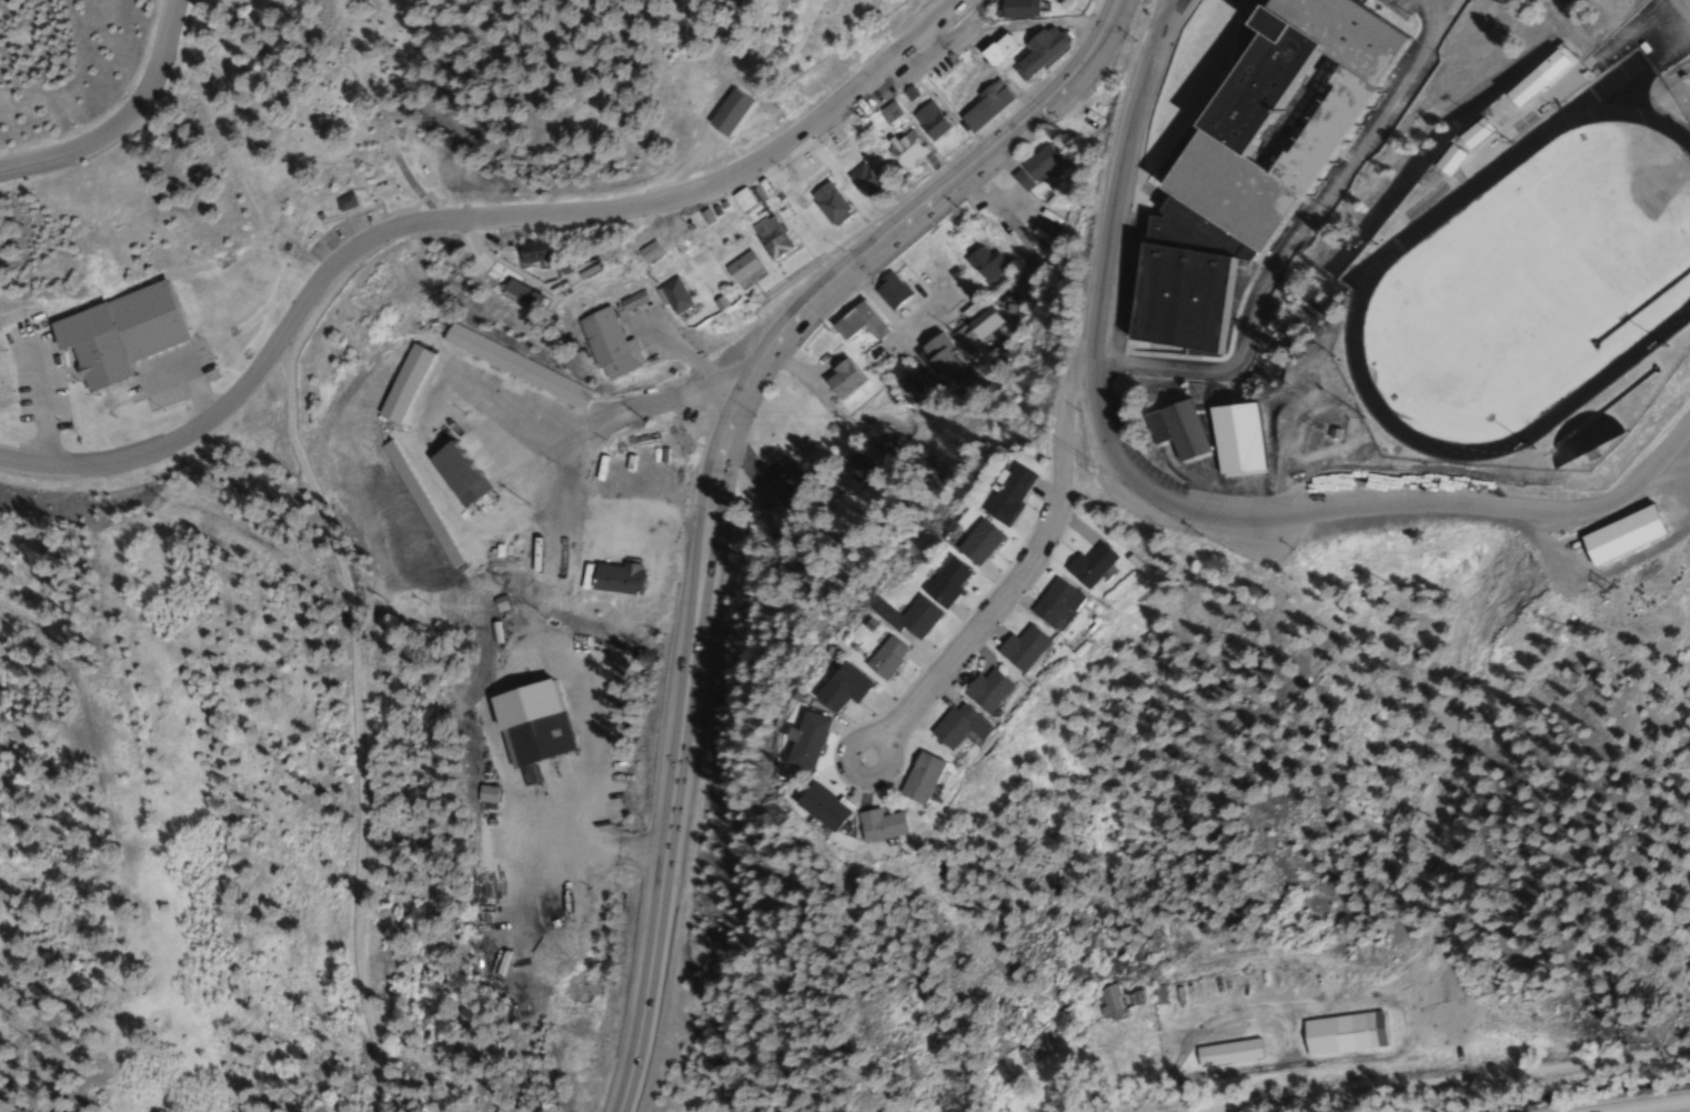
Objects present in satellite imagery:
road: (1687, 3)
building: (1014, 8)
road: (1161, 16)
road: (1111, 21)
building: (992, 50)
building: (1035, 51)
building: (1551, 59)
building: (1522, 88)
building: (980, 107)
building: (886, 111)
building: (723, 113)
road: (118, 118)
building: (926, 120)
building: (1458, 146)
building: (902, 148)
building: (1243, 164)
building: (1034, 168)
building: (858, 181)
building: (738, 200)
building: (339, 202)
building: (824, 202)
road: (460, 218)
building: (767, 238)
road: (1296, 238)
building: (524, 252)
track: (1371, 261)
building: (983, 263)
stadium: (1530, 263)
building: (740, 271)
building: (887, 290)
building: (670, 298)
building: (628, 301)
building: (114, 312)
building: (856, 322)
building: (982, 331)
building: (600, 344)
road: (185, 353)
building: (937, 355)
parking lot: (170, 357)
parking lot: (33, 358)
building: (487, 361)
building: (839, 379)
road: (41, 383)
building: (914, 388)
building: (1171, 430)
building: (1230, 440)
building: (881, 444)
building: (854, 470)
building: (455, 473)
building: (784, 484)
building: (1002, 495)
road: (713, 502)
road: (1190, 514)
building: (1610, 538)
building: (966, 544)
building: (1083, 567)
road: (1004, 583)
building: (929, 584)
building: (1042, 604)
building: (887, 622)
building: (1005, 652)
building: (859, 662)
road: (350, 685)
building: (812, 692)
building: (963, 695)
building: (929, 731)
building: (533, 743)
building: (773, 747)
building: (885, 785)
building: (784, 814)
building: (842, 833)
building: (1107, 1004)
building: (1341, 1033)
building: (1029, 1050)
building: (1225, 1053)
road: (1447, 1080)
road: (1661, 1108)

